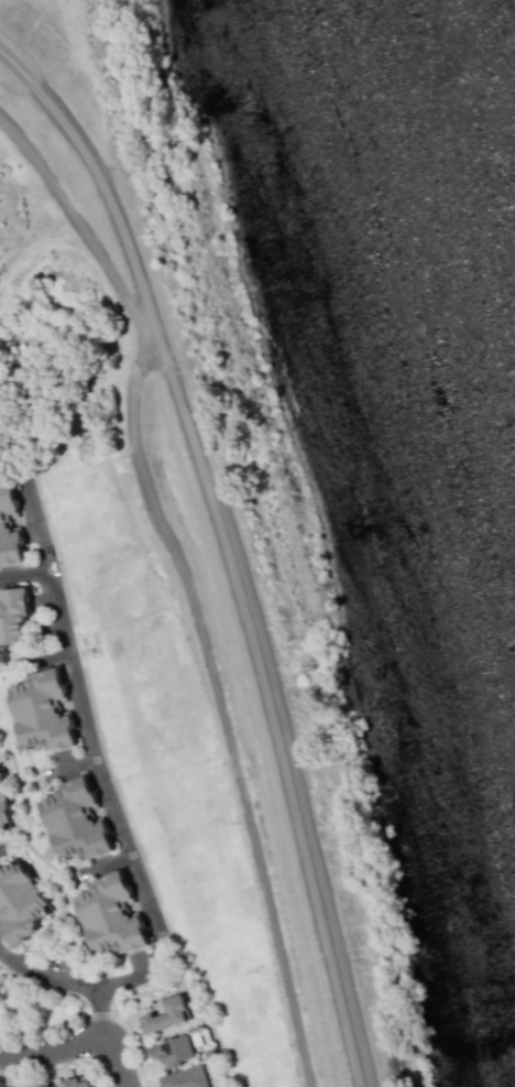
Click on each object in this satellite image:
road: (105, 187)
river: (440, 270)
road: (32, 509)
building: (13, 532)
road: (24, 573)
building: (17, 619)
building: (46, 714)
road: (271, 714)
road: (108, 796)
building: (3, 803)
building: (80, 819)
building: (19, 900)
building: (118, 916)
road: (2, 954)
road: (45, 976)
park: (144, 992)
park: (36, 1010)
road: (100, 1012)
building: (166, 1015)
street lamp: (118, 1019)
road: (52, 1051)
building: (173, 1051)
road: (117, 1059)
building: (185, 1078)
building: (75, 1083)
building: (51, 1086)

